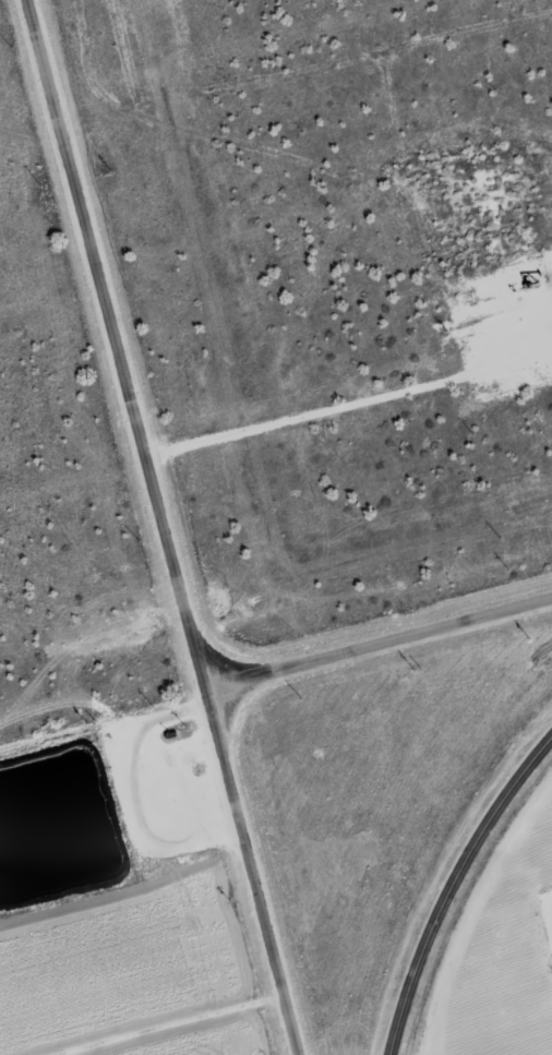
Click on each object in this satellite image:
road: (336, 406)
road: (152, 529)
road: (373, 643)
road: (98, 721)
road: (451, 885)

